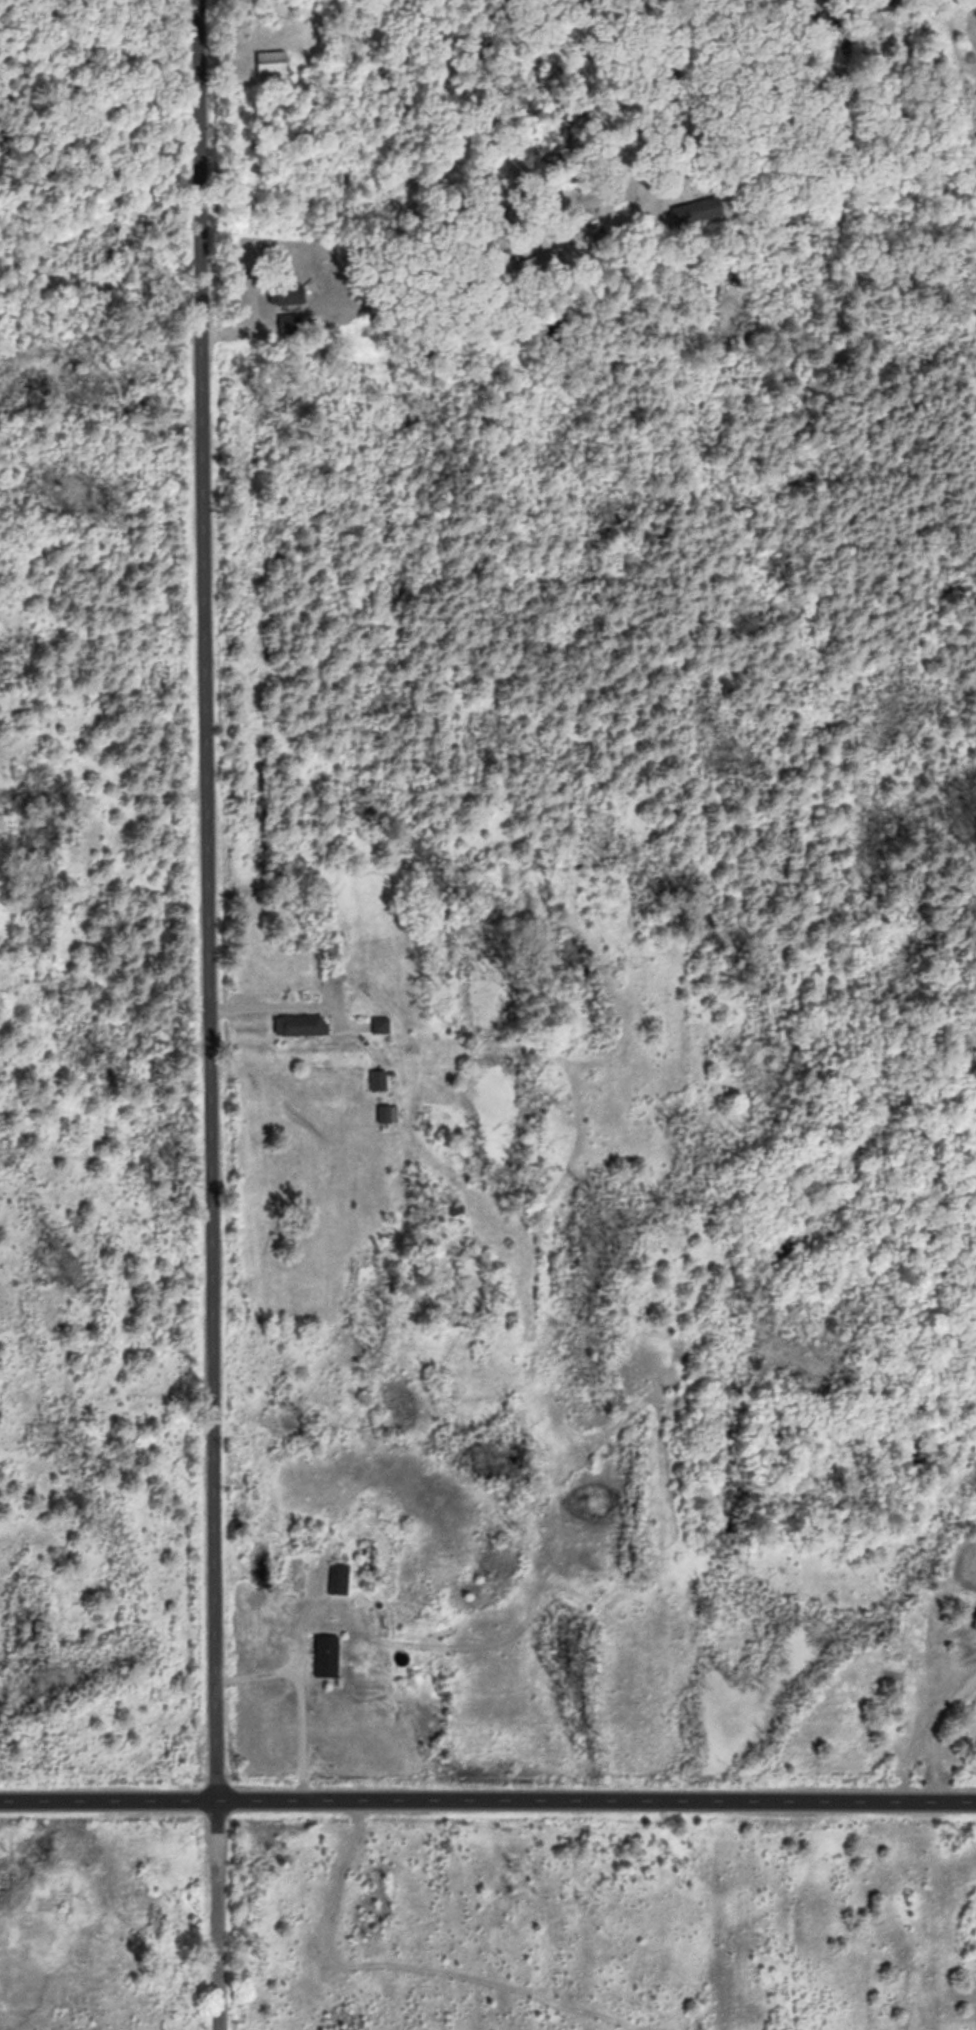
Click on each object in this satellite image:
building: (969, 5)
building: (268, 59)
building: (694, 208)
building: (532, 259)
building: (284, 291)
building: (286, 321)
road: (217, 1015)
building: (298, 1022)
building: (378, 1022)
building: (375, 1077)
building: (385, 1111)
building: (336, 1575)
building: (324, 1652)
road: (488, 1785)

